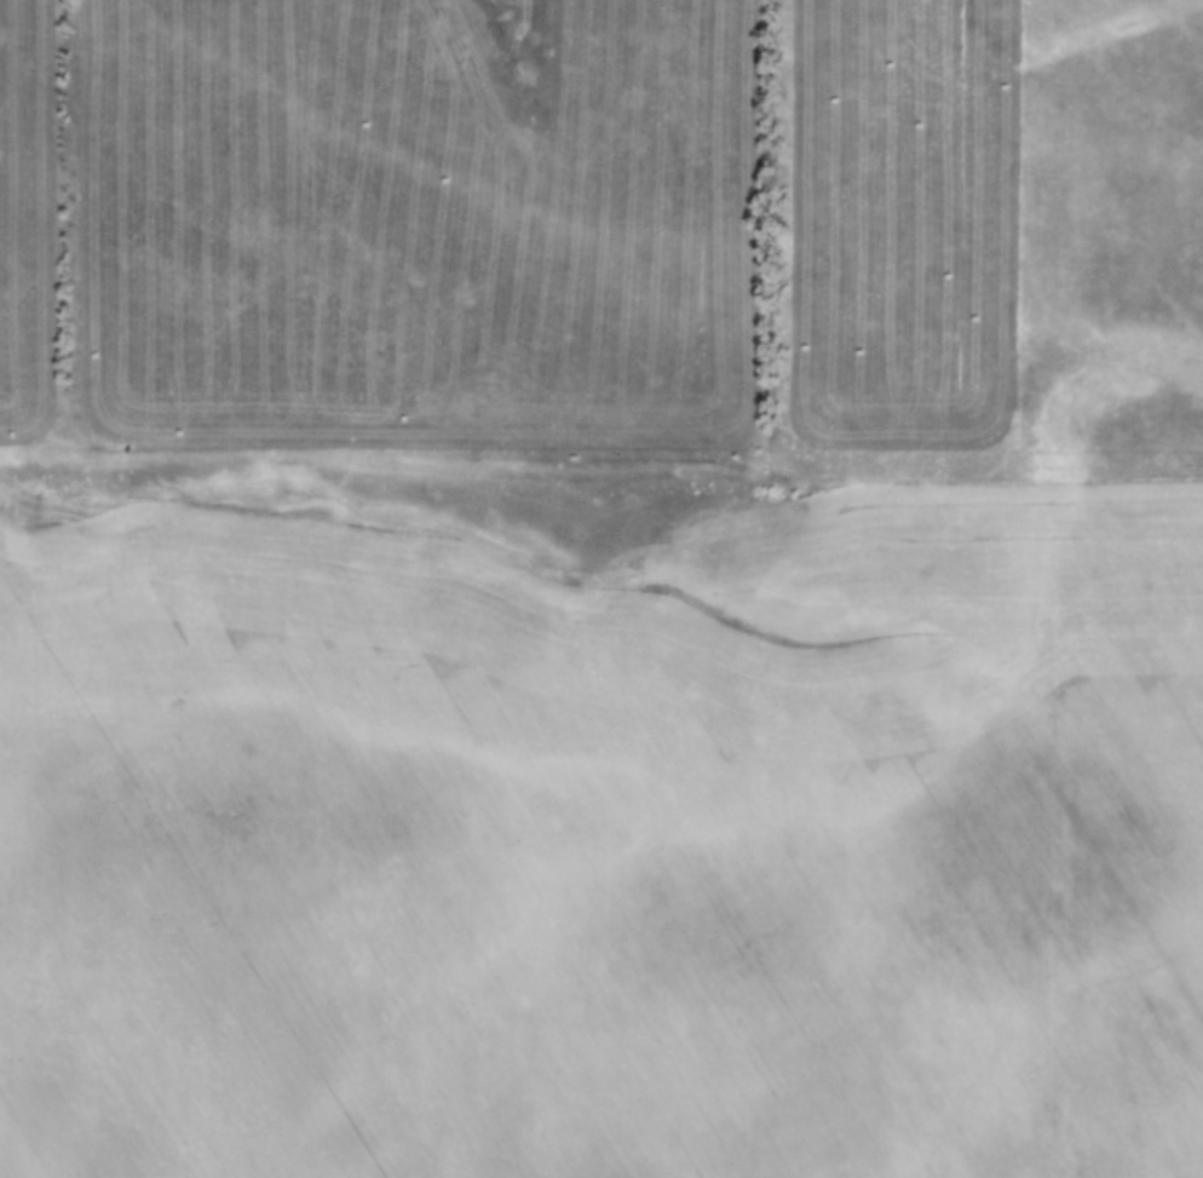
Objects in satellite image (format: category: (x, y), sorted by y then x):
road: (601, 464)

